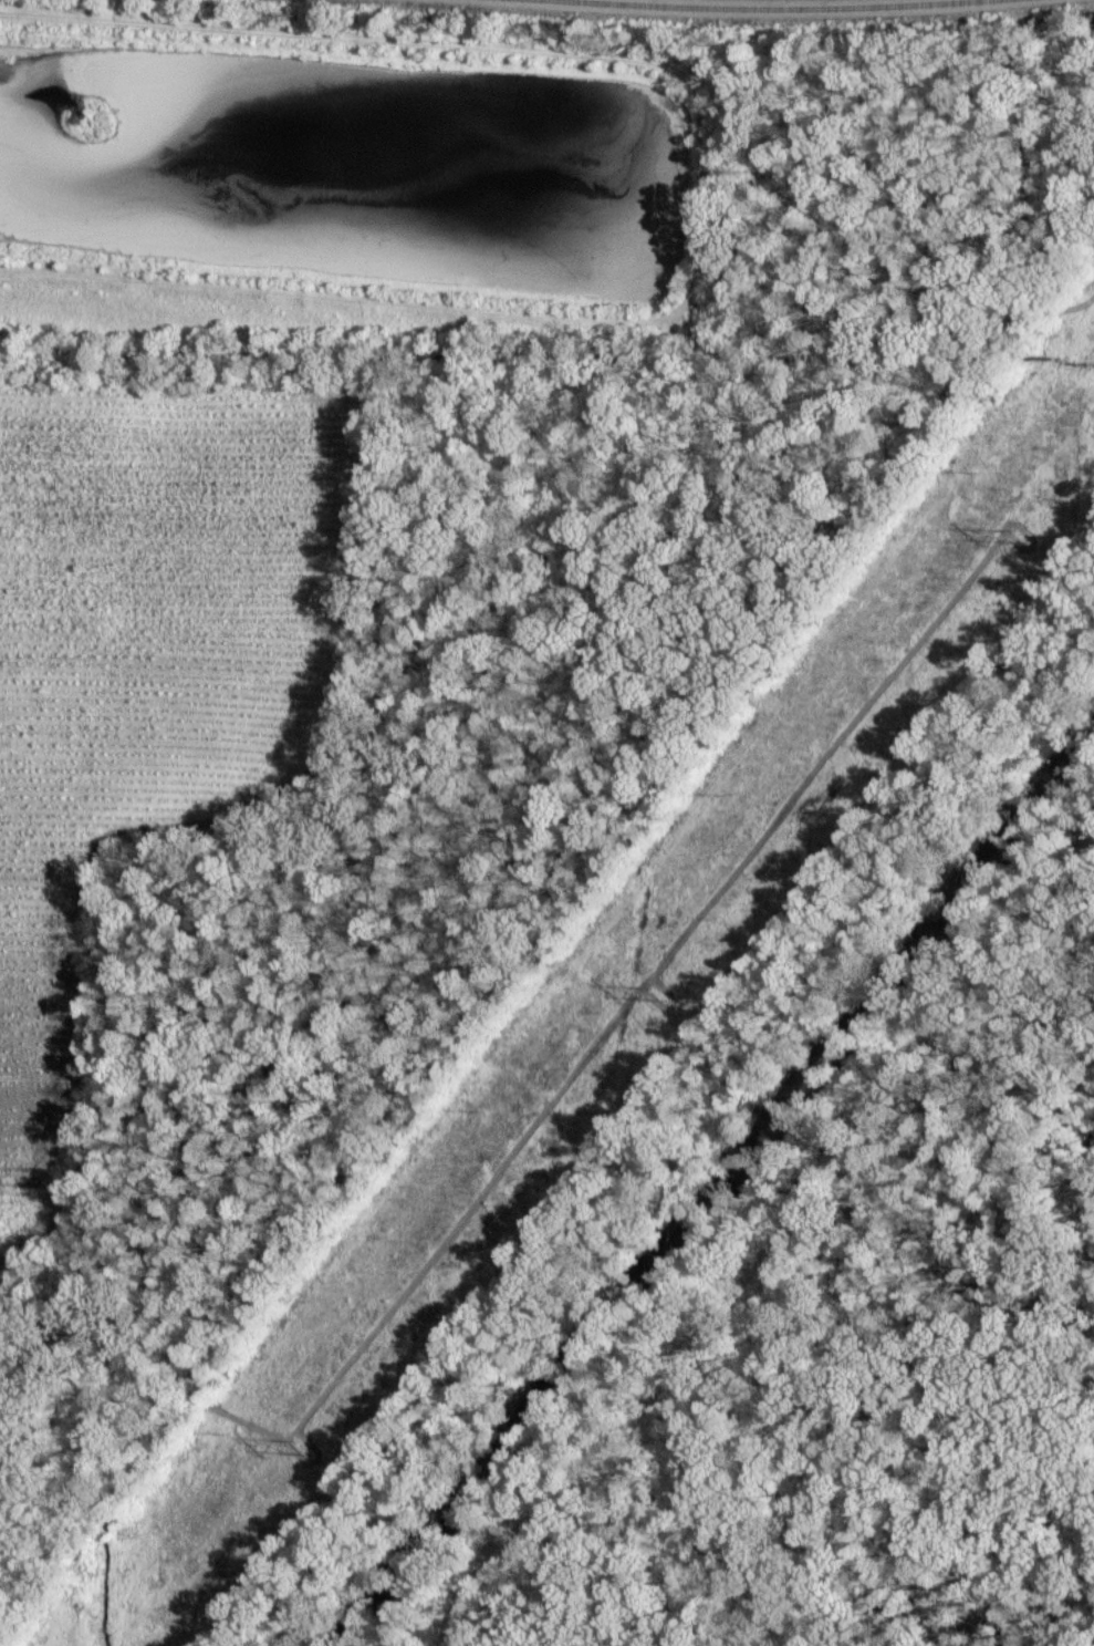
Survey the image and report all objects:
railway: (764, 9)
power tower: (1014, 538)
power tower: (660, 991)
power tower: (301, 1449)

